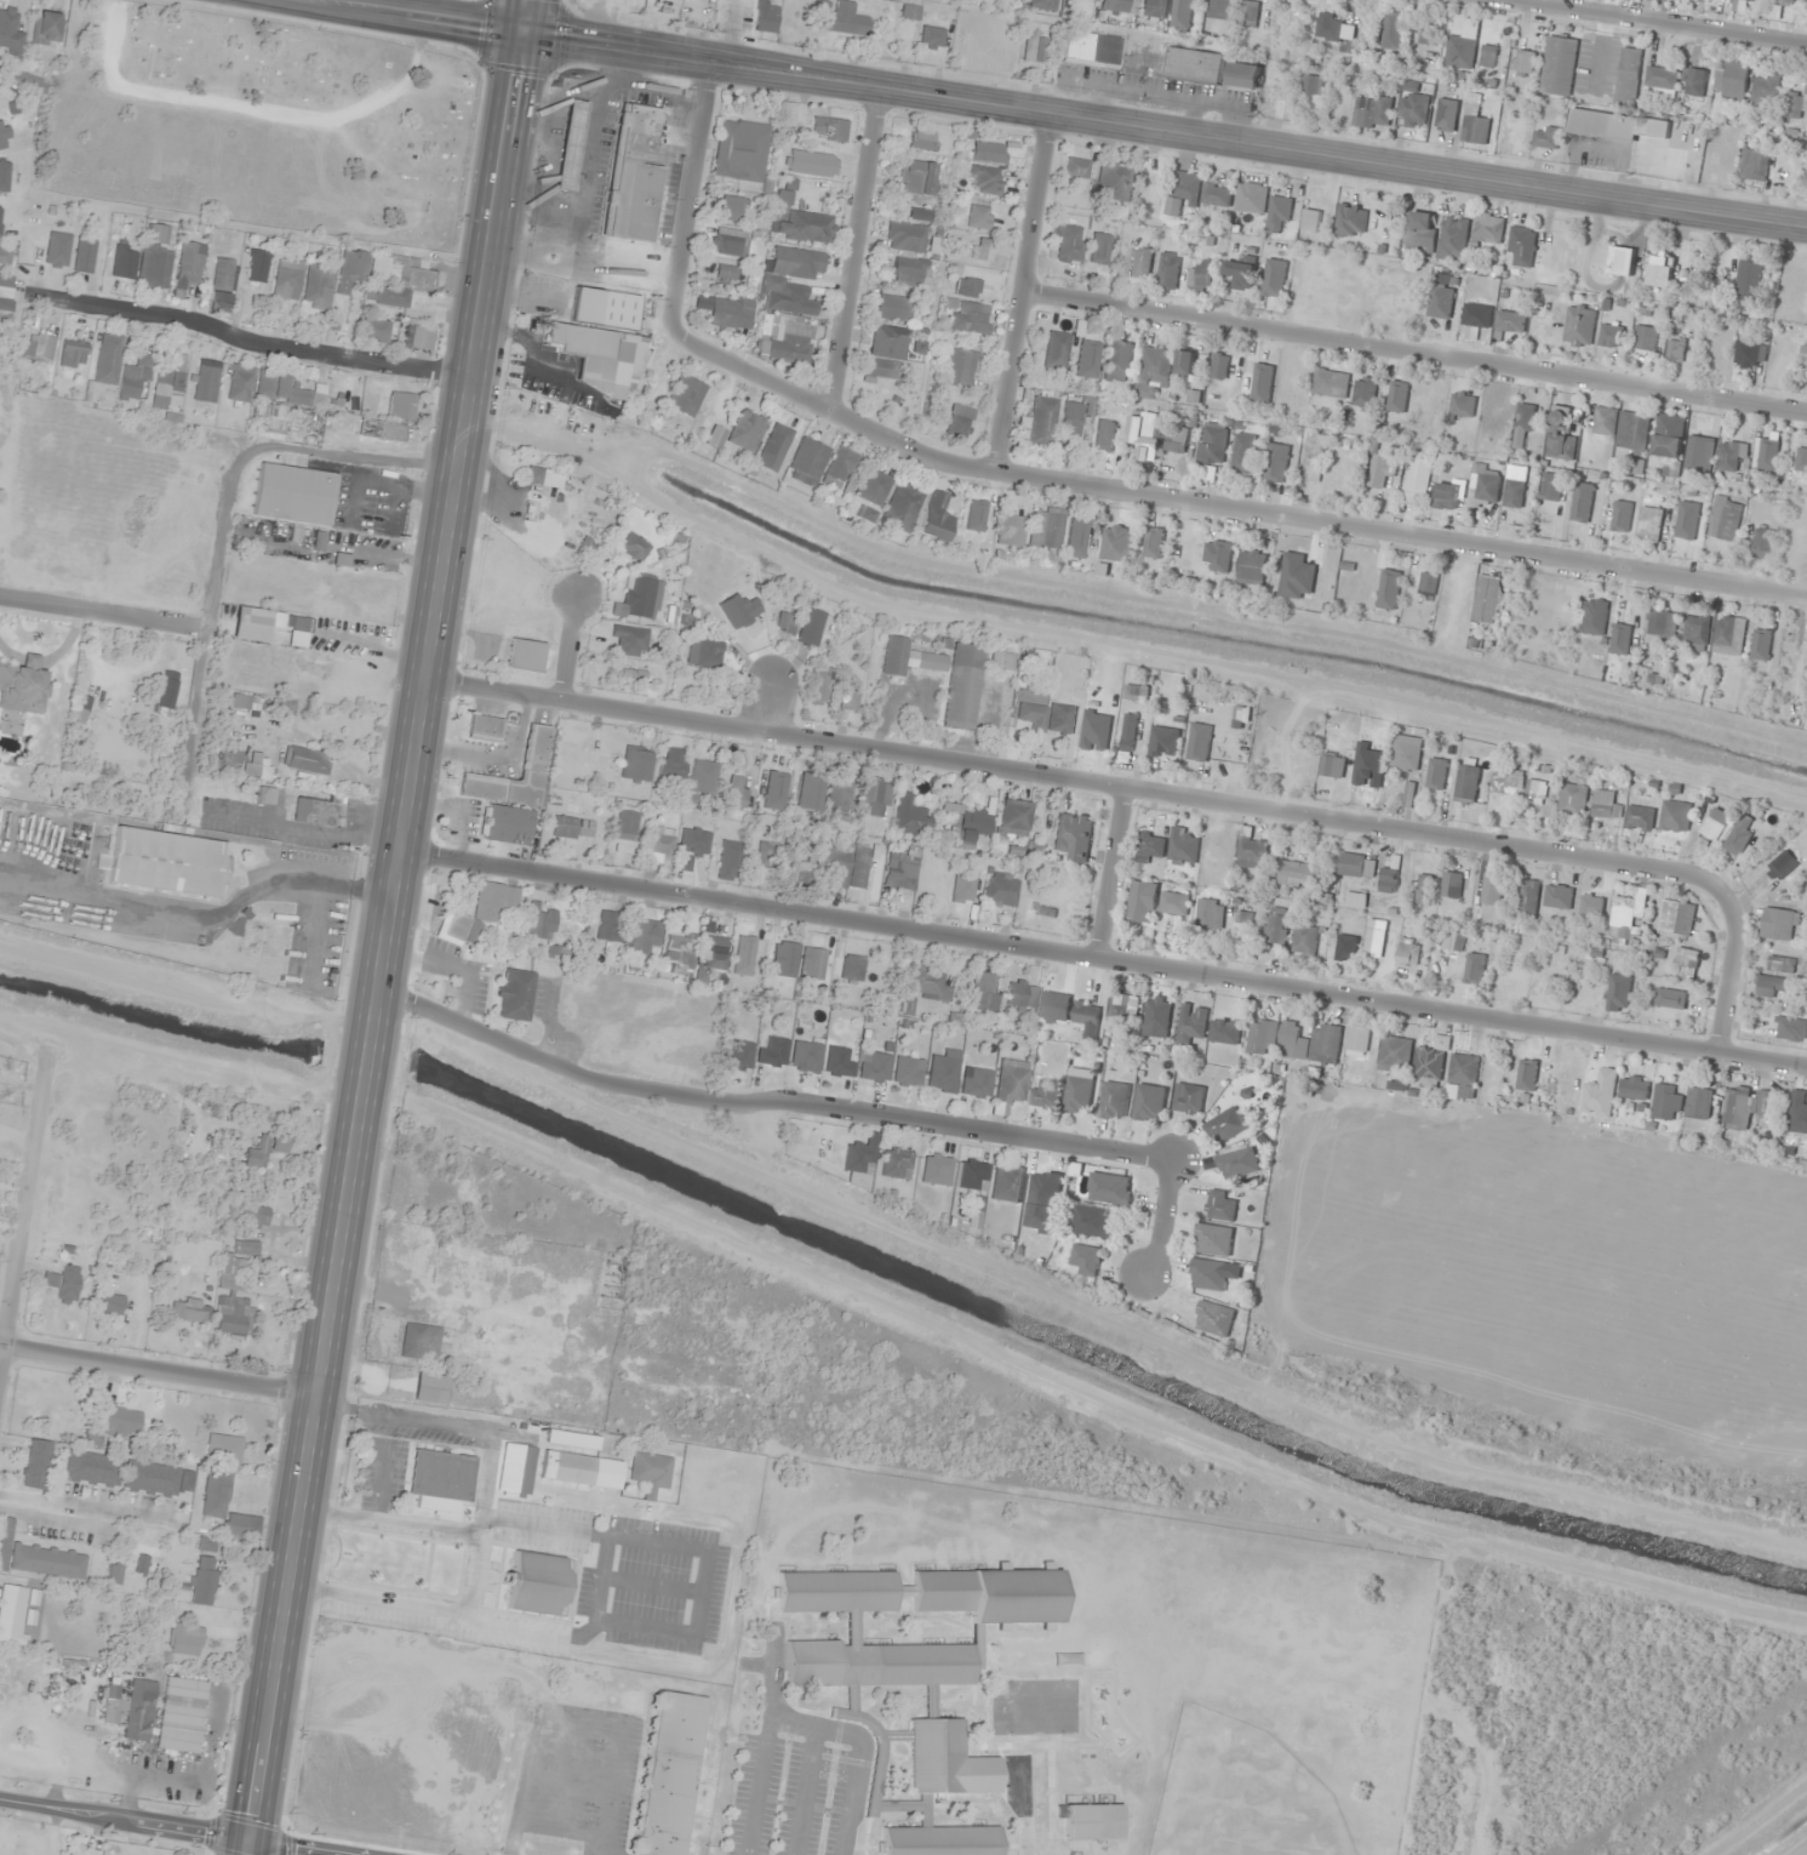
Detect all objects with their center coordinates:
building: (1752, 0)
building: (1788, 0)
building: (1042, 4)
building: (1737, 5)
building: (1119, 6)
building: (1154, 8)
building: (1220, 8)
building: (910, 12)
building: (1247, 12)
building: (1179, 13)
road: (413, 16)
building: (766, 16)
building: (842, 17)
road: (1657, 22)
building: (1327, 25)
building: (45, 28)
building: (1390, 30)
building: (10, 32)
traffic signals: (525, 33)
building: (1424, 35)
building: (1034, 46)
building: (1462, 46)
building: (1090, 50)
building: (1486, 55)
building: (1522, 61)
building: (1557, 64)
building: (1193, 65)
building: (1242, 74)
building: (1626, 76)
building: (1731, 80)
building: (1659, 81)
building: (1693, 81)
building: (1275, 82)
building: (1311, 84)
building: (1765, 89)
building: (1796, 102)
building: (1412, 109)
building: (1369, 112)
park: (261, 122)
building: (1614, 125)
building: (1474, 130)
road: (1165, 131)
building: (829, 132)
building: (1545, 136)
building: (4, 138)
building: (922, 139)
building: (570, 145)
building: (740, 150)
building: (988, 152)
building: (1754, 162)
building: (1076, 167)
building: (4, 175)
building: (633, 175)
building: (915, 177)
building: (987, 181)
building: (1806, 181)
building: (1113, 182)
building: (1180, 192)
building: (1214, 194)
building: (1250, 196)
road: (694, 201)
building: (733, 209)
building: (1277, 212)
building: (919, 215)
building: (978, 217)
building: (0, 218)
building: (800, 219)
building: (1310, 219)
building: (1349, 221)
building: (1487, 226)
building: (1419, 233)
building: (904, 236)
building: (1452, 238)
building: (731, 241)
building: (1068, 242)
building: (1520, 245)
building: (59, 247)
building: (1099, 249)
building: (983, 250)
road: (858, 253)
building: (4, 255)
building: (84, 256)
building: (1619, 259)
building: (124, 261)
building: (1139, 261)
building: (796, 262)
building: (189, 263)
building: (258, 266)
building: (1237, 268)
building: (156, 269)
building: (1167, 269)
building: (1656, 269)
building: (351, 270)
building: (909, 272)
building: (726, 274)
building: (1197, 276)
building: (1273, 276)
building: (222, 280)
building: (396, 280)
building: (287, 281)
building: (1746, 282)
building: (318, 285)
building: (966, 287)
building: (5, 291)
road: (1030, 293)
building: (787, 297)
building: (1439, 301)
building: (893, 308)
building: (726, 312)
building: (968, 318)
building: (1509, 321)
building: (1578, 325)
building: (376, 330)
building: (1608, 335)
building: (1643, 337)
road: (257, 338)
building: (419, 338)
building: (785, 338)
building: (888, 341)
building: (40, 347)
building: (1805, 347)
building: (1674, 349)
building: (1056, 350)
building: (73, 353)
building: (1749, 353)
road: (1418, 356)
building: (600, 358)
building: (108, 359)
building: (1087, 359)
building: (1116, 360)
building: (1184, 363)
building: (1218, 365)
building: (959, 366)
building: (880, 369)
building: (1153, 369)
building: (135, 377)
building: (206, 381)
building: (1260, 382)
building: (1329, 383)
building: (270, 384)
building: (166, 386)
building: (239, 388)
building: (1362, 390)
building: (1396, 395)
building: (307, 396)
building: (686, 396)
building: (393, 401)
building: (1460, 405)
building: (1525, 416)
building: (1603, 419)
building: (957, 421)
building: (1042, 421)
building: (271, 422)
building: (1073, 422)
building: (381, 429)
building: (1631, 429)
building: (747, 430)
building: (1144, 434)
building: (1104, 435)
building: (1560, 435)
building: (1666, 435)
building: (715, 436)
building: (1176, 439)
building: (1211, 443)
building: (774, 447)
building: (1241, 452)
building: (1697, 455)
building: (1766, 455)
building: (1731, 456)
building: (1311, 457)
building: (807, 462)
building: (1275, 462)
building: (1800, 462)
building: (841, 469)
building: (1379, 470)
building: (543, 478)
building: (1414, 478)
building: (1485, 485)
building: (1550, 486)
building: (873, 487)
building: (1446, 493)
building: (1512, 493)
building: (295, 495)
building: (1580, 502)
building: (902, 507)
road: (1228, 507)
building: (865, 514)
building: (976, 515)
building: (1619, 515)
building: (936, 519)
building: (1723, 519)
building: (1686, 520)
building: (1648, 524)
building: (1011, 529)
building: (1047, 530)
building: (1076, 538)
building: (1153, 542)
building: (1760, 542)
building: (1115, 543)
building: (633, 547)
building: (1219, 556)
building: (1250, 566)
building: (1294, 576)
building: (1426, 581)
building: (1388, 588)
building: (641, 598)
building: (1485, 599)
building: (738, 610)
road: (98, 613)
building: (1592, 616)
building: (290, 622)
building: (1660, 623)
building: (801, 626)
building: (1694, 633)
building: (1728, 634)
building: (1619, 638)
building: (630, 640)
building: (1760, 644)
road: (570, 650)
building: (703, 653)
building: (525, 655)
building: (893, 656)
building: (931, 661)
building: (1002, 661)
building: (627, 673)
building: (23, 685)
building: (172, 687)
building: (961, 687)
building: (820, 689)
building: (1134, 691)
building: (848, 700)
building: (246, 702)
road: (764, 702)
building: (284, 707)
building: (1028, 710)
building: (1059, 719)
building: (484, 729)
building: (1127, 731)
building: (1162, 741)
building: (1197, 741)
building: (534, 749)
building: (1406, 752)
building: (307, 760)
building: (636, 763)
building: (1294, 763)
building: (228, 764)
building: (673, 764)
building: (1329, 765)
building: (258, 767)
building: (1435, 774)
building: (702, 777)
road: (1074, 780)
building: (1469, 782)
building: (1505, 782)
building: (1537, 788)
building: (774, 790)
building: (736, 792)
building: (808, 792)
building: (1407, 794)
building: (265, 795)
building: (874, 798)
building: (1571, 799)
building: (837, 803)
building: (1605, 804)
building: (318, 812)
building: (1674, 815)
building: (909, 817)
building: (1012, 817)
building: (1637, 817)
building: (965, 822)
building: (505, 824)
building: (1712, 824)
building: (571, 828)
building: (624, 831)
building: (1073, 835)
building: (1737, 835)
building: (661, 843)
building: (1180, 845)
building: (1148, 846)
building: (1250, 851)
building: (767, 852)
building: (731, 861)
building: (167, 862)
building: (1782, 863)
building: (842, 864)
building: (1355, 864)
building: (899, 872)
road: (1114, 872)
building: (1293, 873)
building: (1386, 879)
building: (1451, 884)
building: (1422, 889)
building: (1491, 889)
building: (1000, 890)
building: (1557, 896)
building: (1354, 898)
building: (1526, 898)
building: (1140, 901)
building: (1171, 902)
building: (479, 913)
building: (1208, 913)
building: (1242, 917)
building: (1674, 917)
building: (1620, 919)
building: (542, 921)
building: (1777, 923)
building: (1274, 924)
road: (385, 926)
building: (608, 926)
building: (645, 937)
building: (1373, 937)
building: (1303, 940)
building: (1452, 940)
building: (1344, 947)
building: (1406, 953)
building: (675, 955)
building: (710, 955)
building: (743, 955)
road: (1103, 957)
building: (1686, 957)
building: (813, 964)
building: (1780, 964)
building: (852, 968)
building: (1473, 968)
road: (1729, 972)
building: (1504, 981)
building: (926, 983)
building: (1768, 984)
building: (983, 991)
building: (1617, 992)
building: (514, 995)
building: (1020, 995)
building: (1660, 999)
building: (1053, 1005)
building: (1117, 1006)
building: (1085, 1012)
building: (1155, 1016)
building: (1189, 1022)
building: (1224, 1029)
building: (1260, 1035)
building: (1356, 1040)
building: (1309, 1041)
building: (771, 1051)
building: (1394, 1054)
building: (738, 1055)
building: (805, 1056)
building: (839, 1061)
building: (1429, 1063)
building: (874, 1067)
building: (908, 1071)
building: (943, 1071)
building: (1526, 1073)
building: (1460, 1077)
building: (1010, 1081)
building: (974, 1083)
building: (1632, 1086)
building: (1043, 1092)
building: (1597, 1092)
building: (1076, 1094)
building: (1186, 1097)
building: (1113, 1100)
building: (1665, 1101)
building: (1148, 1102)
building: (1697, 1102)
building: (1761, 1102)
road: (827, 1107)
building: (1734, 1108)
building: (1796, 1115)
building: (1223, 1125)
building: (263, 1151)
building: (860, 1155)
building: (896, 1163)
building: (1236, 1163)
building: (936, 1169)
building: (972, 1175)
building: (1005, 1183)
building: (1108, 1187)
building: (1041, 1199)
road: (25, 1202)
building: (1219, 1204)
building: (247, 1214)
building: (1091, 1221)
building: (1212, 1239)
building: (1083, 1260)
building: (238, 1265)
building: (1206, 1274)
building: (614, 1277)
building: (63, 1284)
building: (109, 1306)
building: (189, 1309)
building: (231, 1317)
building: (1213, 1318)
building: (421, 1342)
road: (1, 1360)
road: (156, 1372)
building: (429, 1388)
building: (118, 1421)
building: (223, 1449)
building: (568, 1459)
building: (36, 1463)
building: (92, 1469)
building: (650, 1469)
building: (156, 1479)
building: (440, 1480)
road: (377, 1482)
building: (215, 1492)
road: (478, 1519)
road: (385, 1522)
building: (39, 1557)
road: (707, 1568)
building: (114, 1575)
building: (202, 1581)
road: (653, 1583)
building: (536, 1585)
building: (12, 1614)
road: (530, 1633)
building: (184, 1639)
building: (913, 1642)
building: (132, 1711)
building: (181, 1716)
building: (852, 1718)
building: (668, 1774)
building: (1092, 1822)
road: (124, 1825)
building: (942, 1840)
traffic signals: (248, 1851)
road: (261, 1853)
building: (76, 1854)

